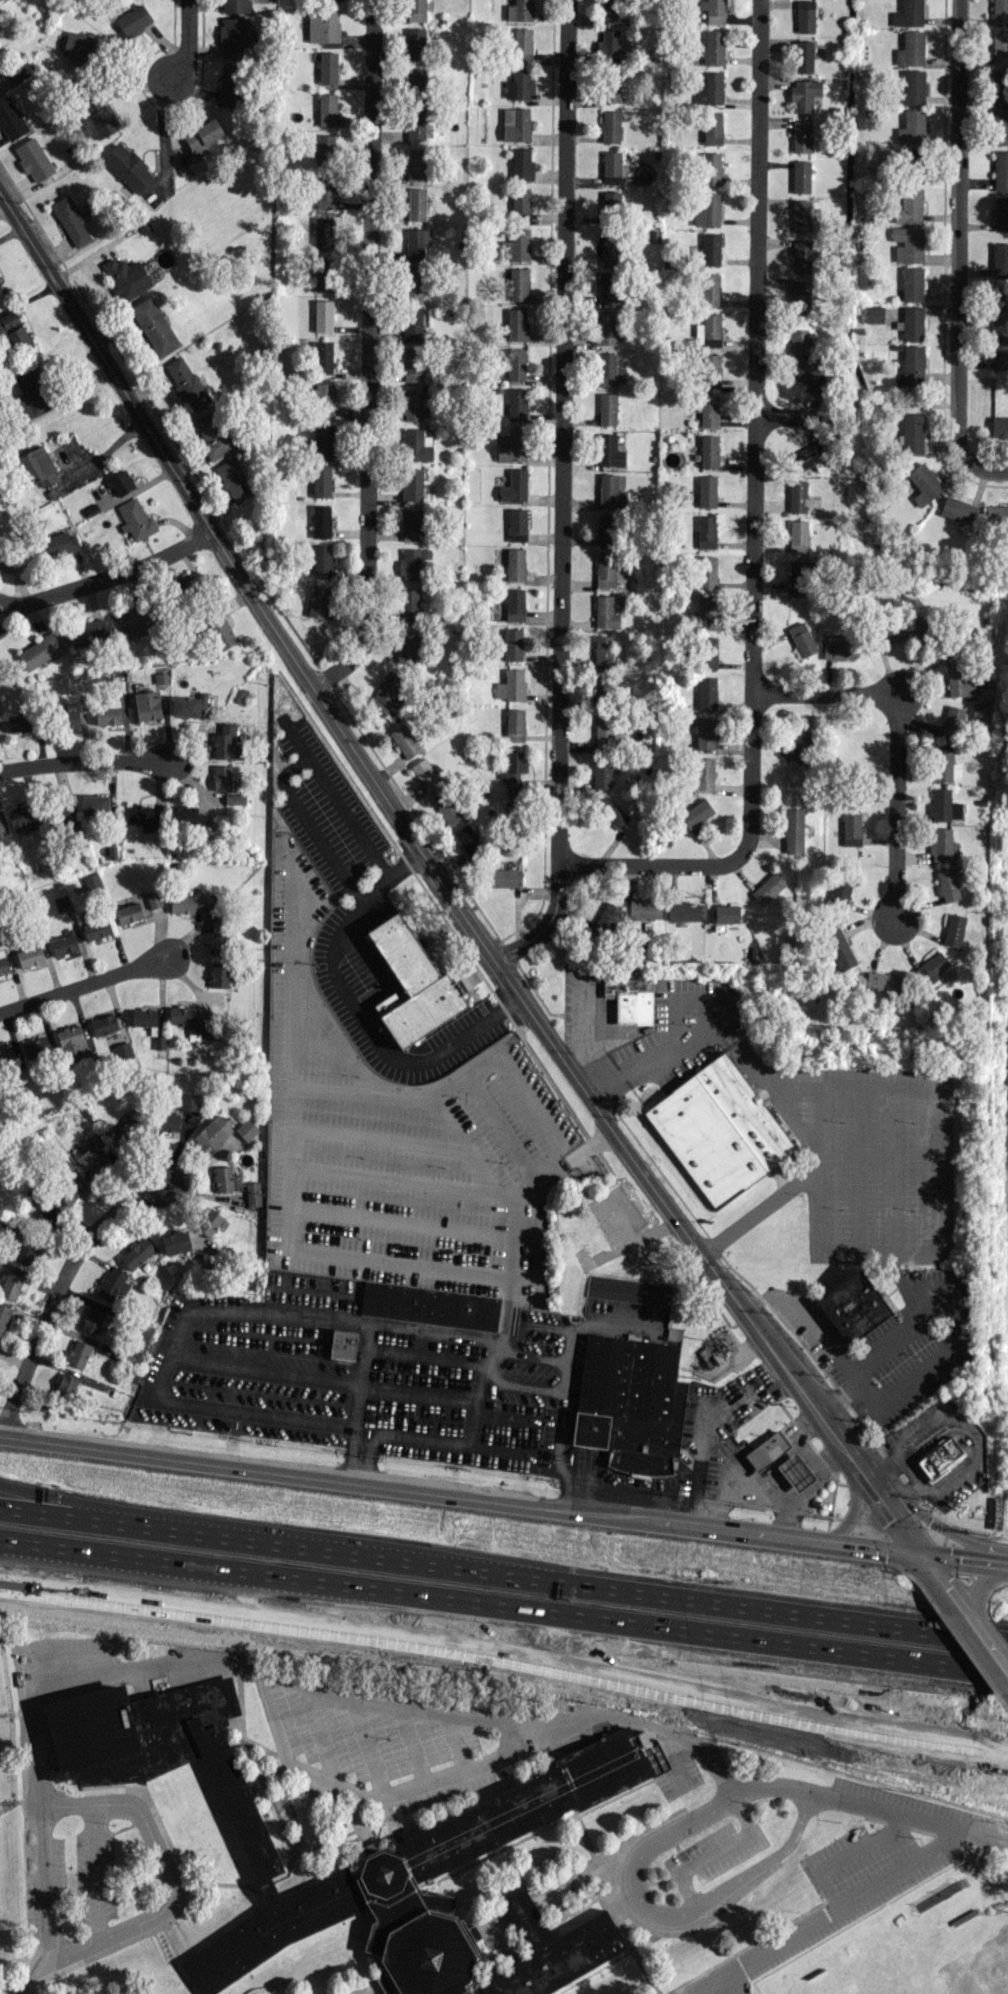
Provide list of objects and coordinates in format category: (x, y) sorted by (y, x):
building: (235, 5)
building: (415, 10)
building: (519, 10)
building: (610, 10)
building: (713, 10)
building: (999, 12)
building: (908, 13)
building: (804, 16)
building: (133, 19)
building: (322, 25)
building: (233, 36)
building: (415, 43)
building: (522, 43)
road: (186, 45)
building: (608, 45)
building: (79, 46)
building: (712, 47)
building: (999, 47)
building: (910, 48)
building: (803, 56)
building: (327, 67)
building: (19, 73)
building: (415, 80)
building: (519, 84)
building: (230, 85)
building: (610, 86)
building: (911, 87)
building: (709, 88)
building: (804, 93)
building: (1000, 93)
building: (327, 109)
building: (96, 117)
building: (10, 118)
building: (416, 123)
building: (515, 124)
building: (610, 126)
building: (911, 127)
building: (999, 127)
building: (712, 128)
building: (202, 134)
building: (801, 136)
road: (164, 138)
building: (324, 151)
building: (33, 159)
building: (416, 164)
building: (521, 164)
building: (127, 167)
building: (611, 167)
building: (710, 168)
building: (1000, 170)
building: (800, 176)
building: (321, 195)
building: (520, 199)
building: (610, 200)
building: (416, 203)
building: (909, 205)
building: (1000, 213)
building: (801, 215)
building: (70, 220)
road: (957, 231)
building: (323, 232)
building: (416, 242)
building: (908, 243)
building: (515, 244)
building: (710, 248)
building: (606, 250)
building: (801, 256)
building: (999, 258)
building: (324, 272)
building: (126, 277)
building: (912, 283)
building: (518, 284)
building: (412, 287)
building: (608, 287)
building: (710, 289)
building: (0, 291)
building: (800, 294)
building: (873, 313)
building: (323, 315)
building: (912, 323)
building: (412, 324)
building: (516, 324)
building: (154, 325)
building: (606, 328)
building: (708, 330)
building: (14, 332)
building: (801, 334)
building: (999, 351)
road: (365, 352)
building: (323, 357)
building: (515, 363)
building: (412, 364)
building: (909, 366)
building: (609, 370)
building: (709, 370)
building: (805, 373)
building: (186, 383)
building: (31, 392)
building: (321, 399)
building: (413, 404)
building: (517, 404)
building: (607, 409)
building: (709, 410)
road: (790, 418)
building: (912, 432)
building: (213, 434)
building: (324, 439)
building: (415, 445)
building: (512, 446)
road: (109, 447)
building: (608, 450)
building: (708, 450)
building: (810, 457)
building: (39, 466)
road: (986, 469)
building: (232, 479)
building: (321, 480)
building: (119, 482)
building: (923, 483)
building: (411, 484)
building: (514, 486)
building: (609, 491)
building: (706, 491)
road: (561, 495)
building: (798, 496)
building: (958, 509)
building: (996, 516)
building: (135, 519)
building: (321, 521)
road: (755, 522)
building: (412, 524)
building: (516, 524)
building: (606, 529)
building: (706, 531)
building: (798, 536)
building: (58, 544)
building: (7, 556)
building: (322, 560)
building: (412, 563)
building: (515, 563)
building: (604, 570)
building: (707, 571)
road: (114, 574)
building: (797, 576)
building: (187, 585)
building: (318, 601)
building: (409, 603)
building: (514, 604)
building: (706, 610)
building: (605, 611)
road: (8, 614)
building: (131, 621)
building: (891, 631)
building: (87, 632)
building: (220, 633)
building: (801, 638)
building: (512, 644)
building: (408, 646)
building: (838, 649)
building: (39, 650)
building: (602, 650)
building: (708, 652)
building: (160, 677)
building: (960, 680)
road: (915, 682)
building: (510, 685)
building: (387, 693)
building: (707, 693)
building: (983, 693)
building: (147, 704)
building: (188, 705)
building: (108, 711)
building: (980, 712)
building: (71, 714)
building: (951, 720)
building: (20, 722)
building: (514, 724)
building: (705, 732)
building: (603, 734)
building: (404, 740)
building: (226, 741)
road: (894, 742)
building: (802, 745)
building: (944, 765)
road: (81, 766)
road: (288, 767)
building: (512, 771)
building: (704, 773)
building: (426, 774)
building: (601, 774)
building: (221, 777)
building: (235, 799)
building: (94, 804)
building: (943, 805)
road: (393, 807)
building: (447, 807)
building: (64, 811)
building: (611, 812)
building: (696, 813)
building: (145, 816)
building: (187, 818)
building: (851, 828)
building: (793, 830)
building: (4, 837)
building: (467, 839)
building: (942, 844)
building: (505, 877)
building: (91, 880)
building: (947, 885)
building: (767, 888)
building: (840, 889)
building: (153, 898)
building: (191, 902)
building: (645, 908)
building: (684, 910)
building: (128, 912)
building: (722, 913)
building: (606, 919)
building: (95, 928)
building: (953, 929)
building: (220, 936)
building: (64, 943)
building: (838, 948)
building: (29, 955)
building: (3, 963)
building: (930, 968)
building: (219, 974)
building: (412, 981)
building: (883, 982)
road: (82, 988)
building: (630, 999)
road: (357, 1011)
building: (145, 1018)
building: (188, 1022)
building: (103, 1024)
building: (71, 1039)
building: (36, 1048)
building: (123, 1050)
building: (7, 1058)
road: (780, 1088)
building: (189, 1101)
building: (166, 1122)
building: (129, 1127)
building: (246, 1129)
building: (718, 1129)
building: (212, 1133)
building: (94, 1160)
road: (562, 1161)
road: (858, 1169)
road: (895, 1170)
building: (223, 1178)
building: (68, 1188)
building: (252, 1193)
road: (933, 1197)
road: (291, 1199)
building: (46, 1209)
building: (208, 1221)
building: (175, 1242)
building: (26, 1251)
building: (137, 1253)
building: (112, 1283)
building: (11, 1285)
road: (904, 1286)
building: (628, 1290)
road: (57, 1293)
building: (429, 1305)
building: (852, 1306)
road: (952, 1308)
road: (806, 1312)
building: (4, 1316)
building: (92, 1319)
building: (341, 1343)
road: (526, 1352)
building: (78, 1353)
road: (357, 1373)
road: (854, 1373)
building: (67, 1383)
road: (521, 1384)
road: (869, 1391)
road: (838, 1394)
road: (160, 1400)
building: (629, 1402)
road: (950, 1410)
road: (833, 1429)
road: (556, 1438)
gas station: (764, 1449)
building: (766, 1449)
road: (346, 1452)
road: (784, 1452)
road: (808, 1453)
building: (939, 1456)
road: (883, 1462)
building: (794, 1471)
road: (818, 1471)
road: (949, 1480)
road: (630, 1486)
road: (915, 1488)
road: (756, 1493)
road: (460, 1498)
road: (853, 1501)
road: (886, 1504)
road: (935, 1525)
road: (864, 1539)
road: (958, 1551)
traffic signals: (920, 1562)
road: (869, 1566)
road: (963, 1566)
road: (504, 1574)
road: (935, 1581)
road: (976, 1590)
road: (503, 1606)
road: (897, 1635)
road: (979, 1640)
road: (505, 1655)
road: (244, 1664)
road: (884, 1712)
road: (771, 1787)
road: (397, 1793)
road: (909, 1818)
building: (472, 1820)
road: (713, 1850)
road: (841, 1854)
road: (641, 1855)
road: (765, 1861)
road: (95, 1872)
road: (170, 1874)
road: (841, 1906)
park: (876, 1976)
road: (708, 1983)
road: (728, 1984)

